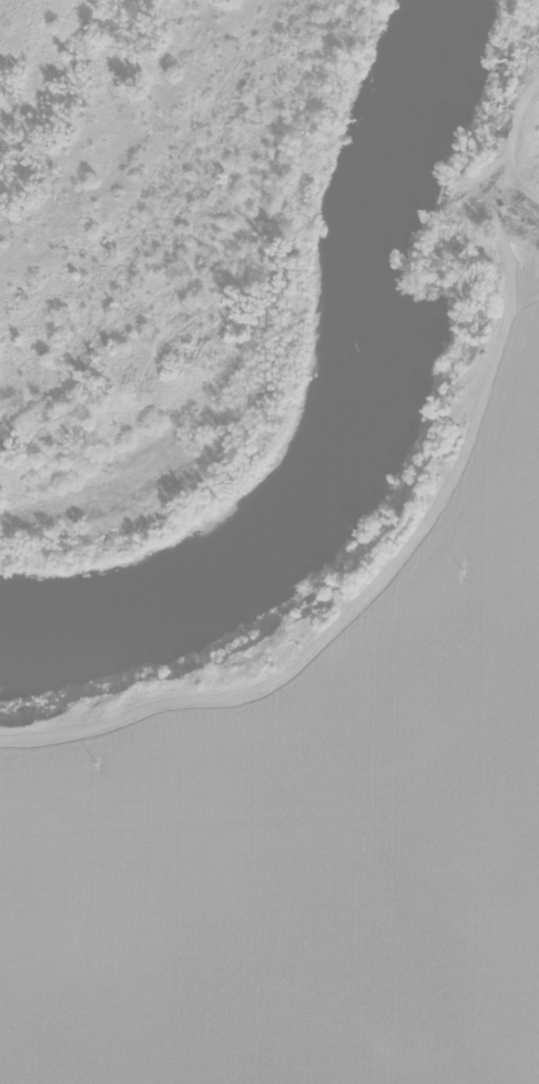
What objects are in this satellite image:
river: (301, 332)

